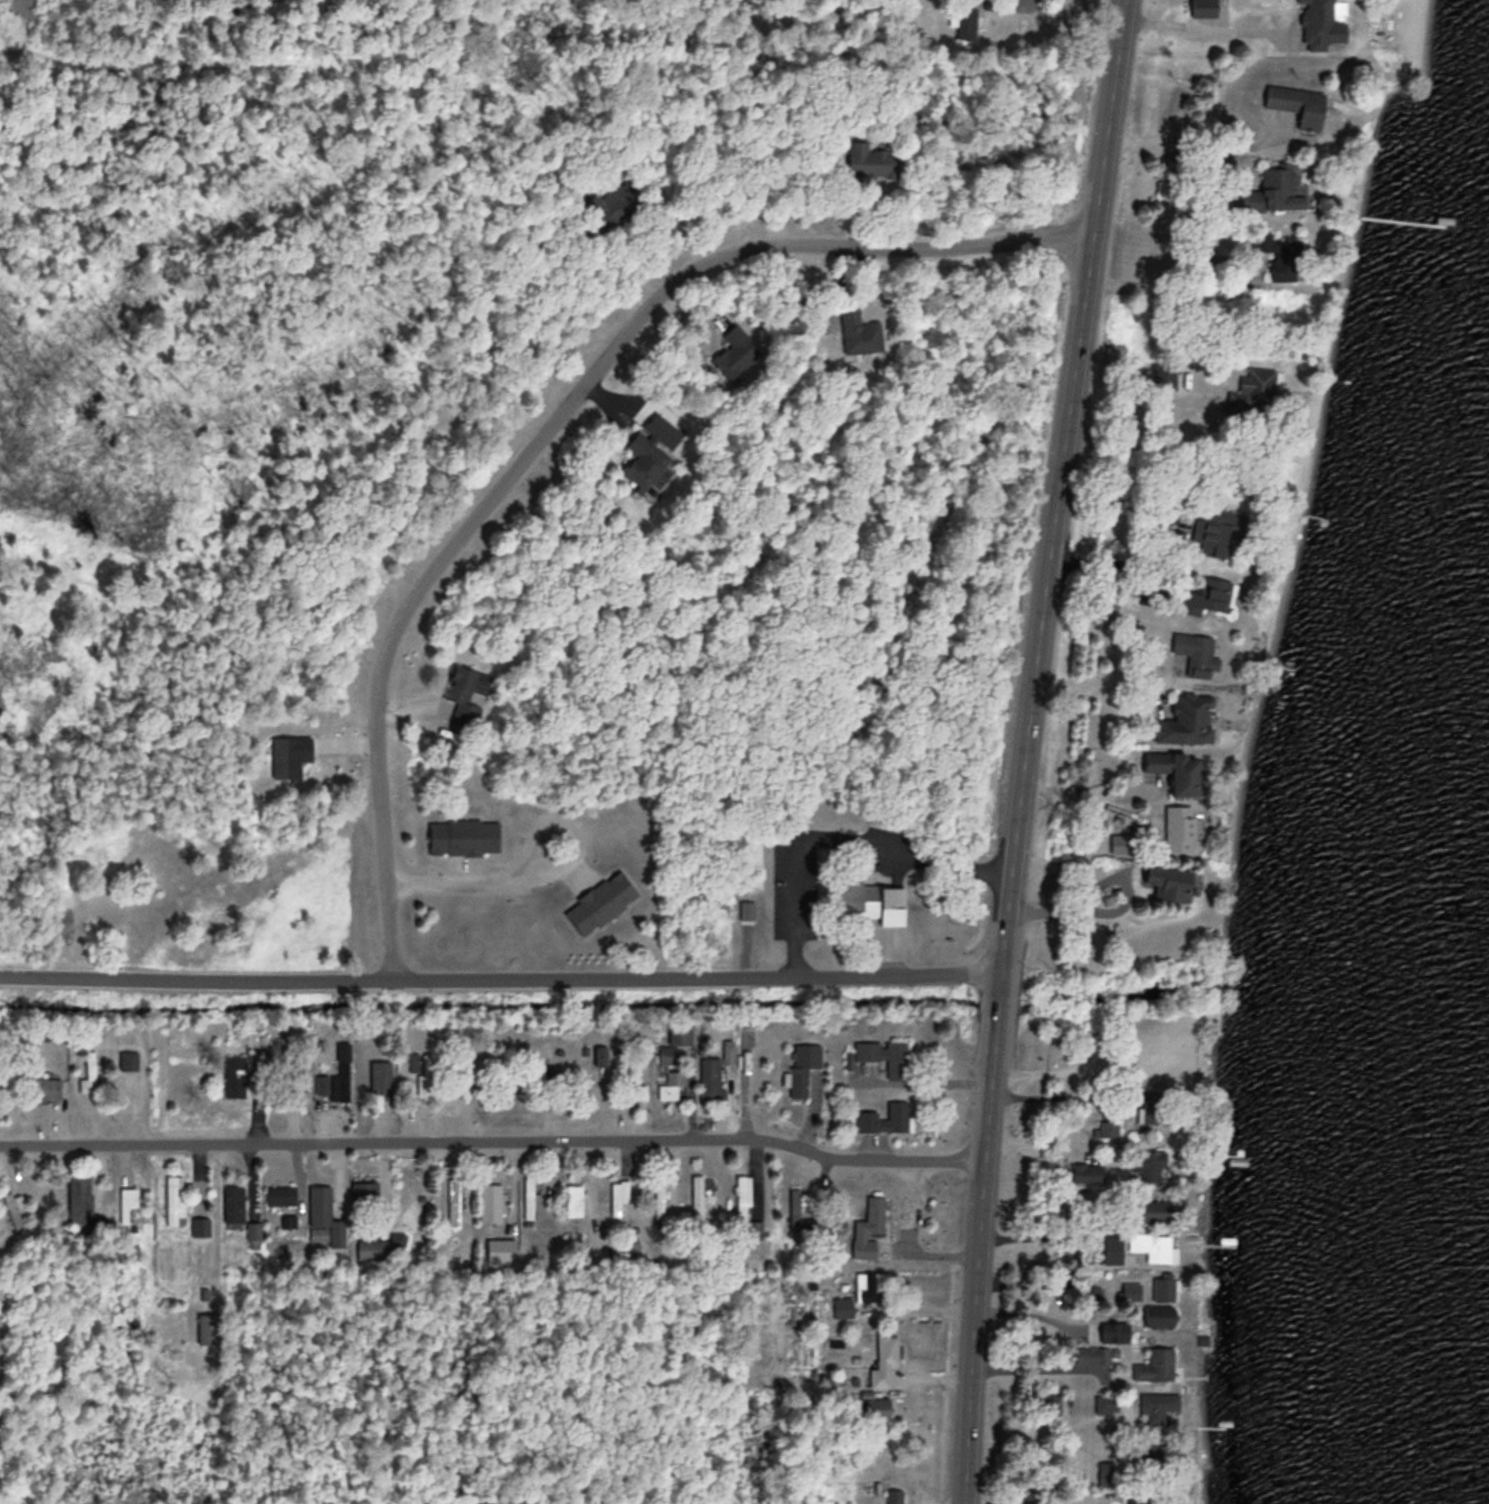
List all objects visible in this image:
building: (967, 23)
road: (1195, 24)
building: (1322, 24)
building: (1298, 104)
building: (870, 160)
building: (1281, 188)
building: (615, 204)
building: (1287, 256)
building: (859, 331)
building: (730, 347)
building: (1255, 389)
road: (552, 422)
building: (647, 461)
building: (1217, 529)
building: (1213, 592)
building: (1202, 656)
building: (465, 692)
building: (1188, 719)
road: (1025, 750)
building: (289, 755)
building: (1177, 769)
building: (1180, 826)
building: (464, 836)
building: (1124, 842)
building: (1170, 881)
building: (876, 899)
road: (500, 979)
building: (675, 1039)
building: (599, 1053)
building: (884, 1054)
building: (128, 1061)
building: (803, 1065)
building: (245, 1069)
building: (422, 1071)
building: (89, 1072)
building: (546, 1074)
building: (337, 1075)
building: (297, 1077)
building: (463, 1078)
building: (711, 1078)
building: (383, 1080)
building: (670, 1082)
building: (46, 1087)
building: (1151, 1106)
building: (867, 1113)
building: (1108, 1126)
road: (494, 1138)
building: (1152, 1163)
building: (1087, 1172)
building: (364, 1193)
building: (618, 1193)
building: (281, 1194)
building: (697, 1194)
building: (742, 1194)
building: (528, 1196)
building: (173, 1197)
building: (660, 1198)
building: (127, 1199)
building: (573, 1199)
building: (82, 1200)
building: (453, 1201)
building: (490, 1201)
building: (233, 1203)
building: (796, 1206)
building: (1156, 1209)
building: (12, 1210)
building: (324, 1216)
building: (288, 1220)
building: (200, 1226)
building: (868, 1227)
building: (755, 1228)
building: (253, 1234)
building: (379, 1246)
building: (1150, 1246)
building: (625, 1248)
building: (501, 1249)
building: (872, 1285)
building: (1163, 1286)
building: (1131, 1289)
building: (843, 1306)
building: (1160, 1315)
building: (209, 1327)
building: (1108, 1331)
building: (1092, 1354)
building: (884, 1359)
building: (1155, 1364)
building: (1107, 1402)
building: (1157, 1405)
building: (875, 1408)
building: (1146, 1451)
building: (1107, 1471)
building: (894, 1496)
building: (1142, 1501)

